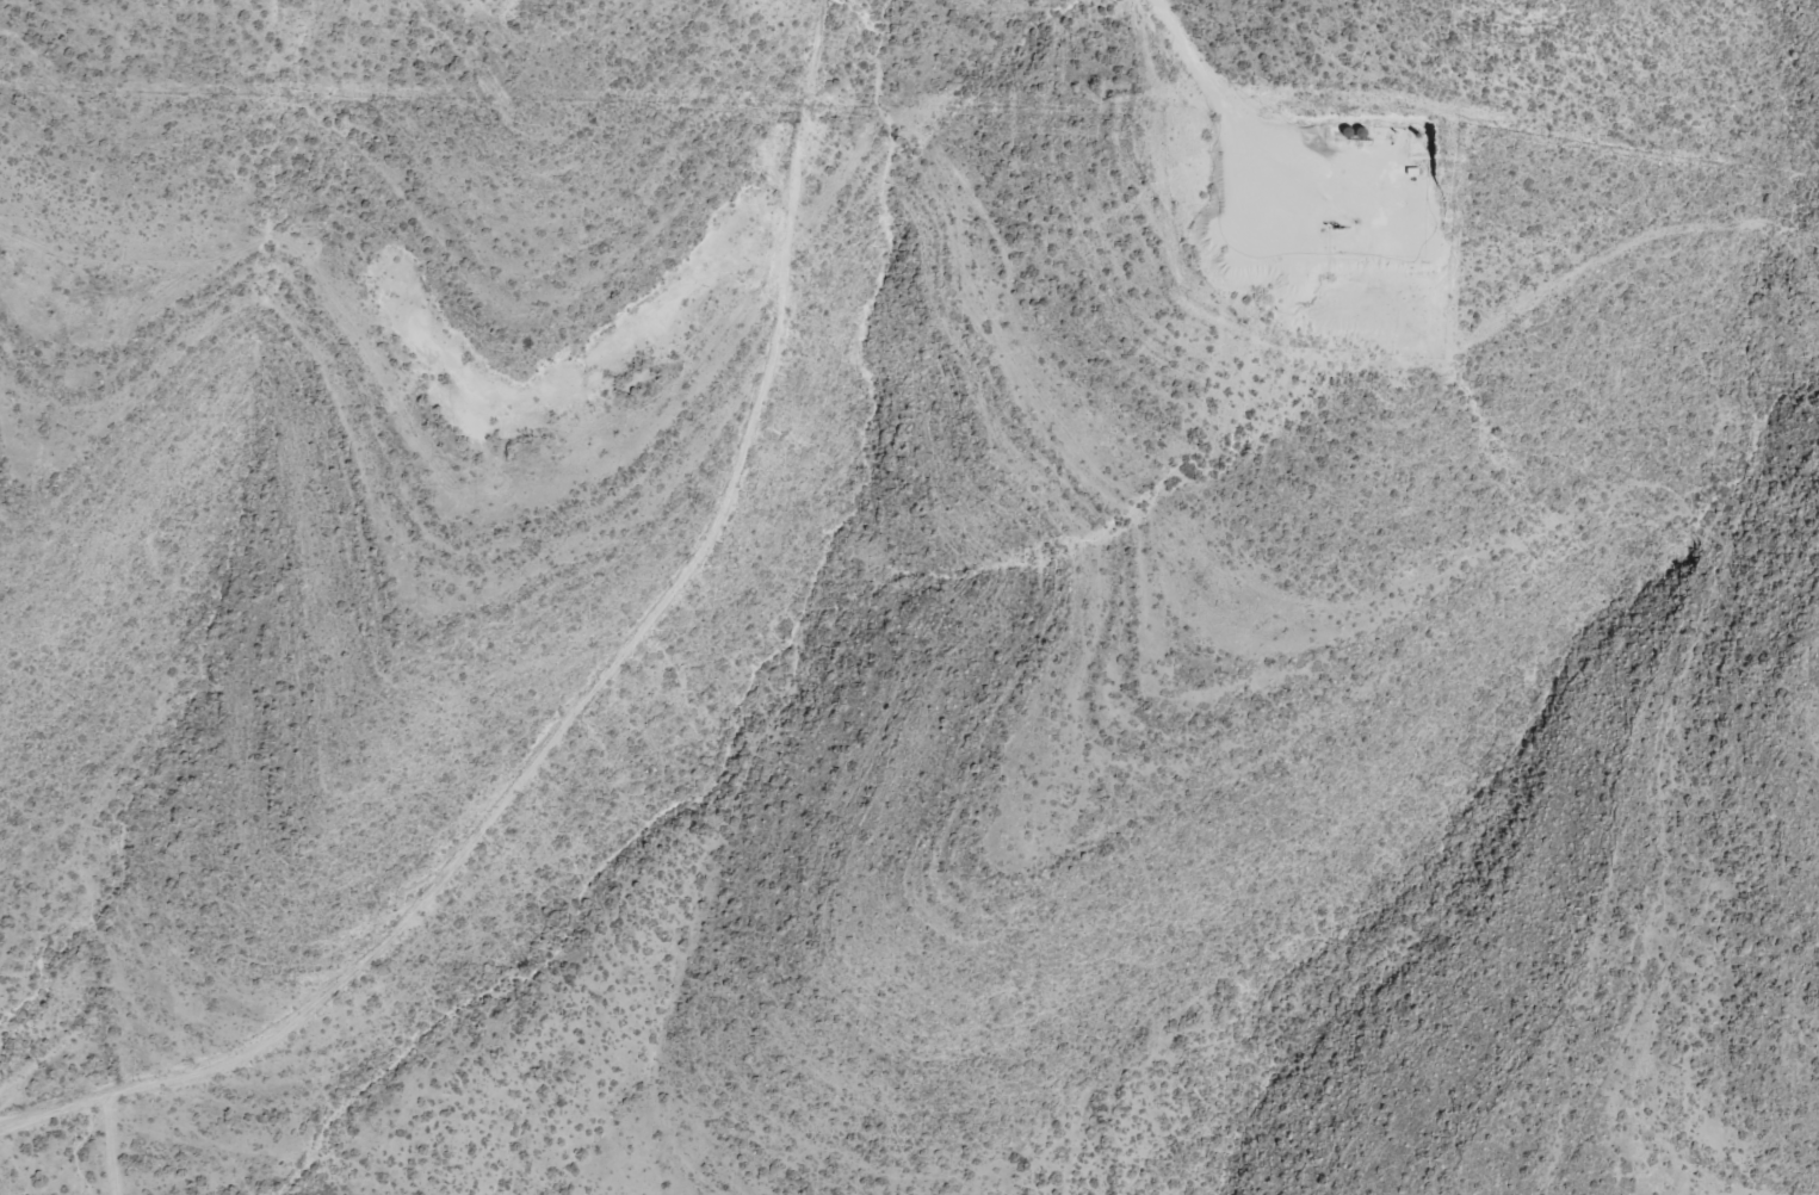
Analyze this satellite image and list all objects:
road: (574, 696)

